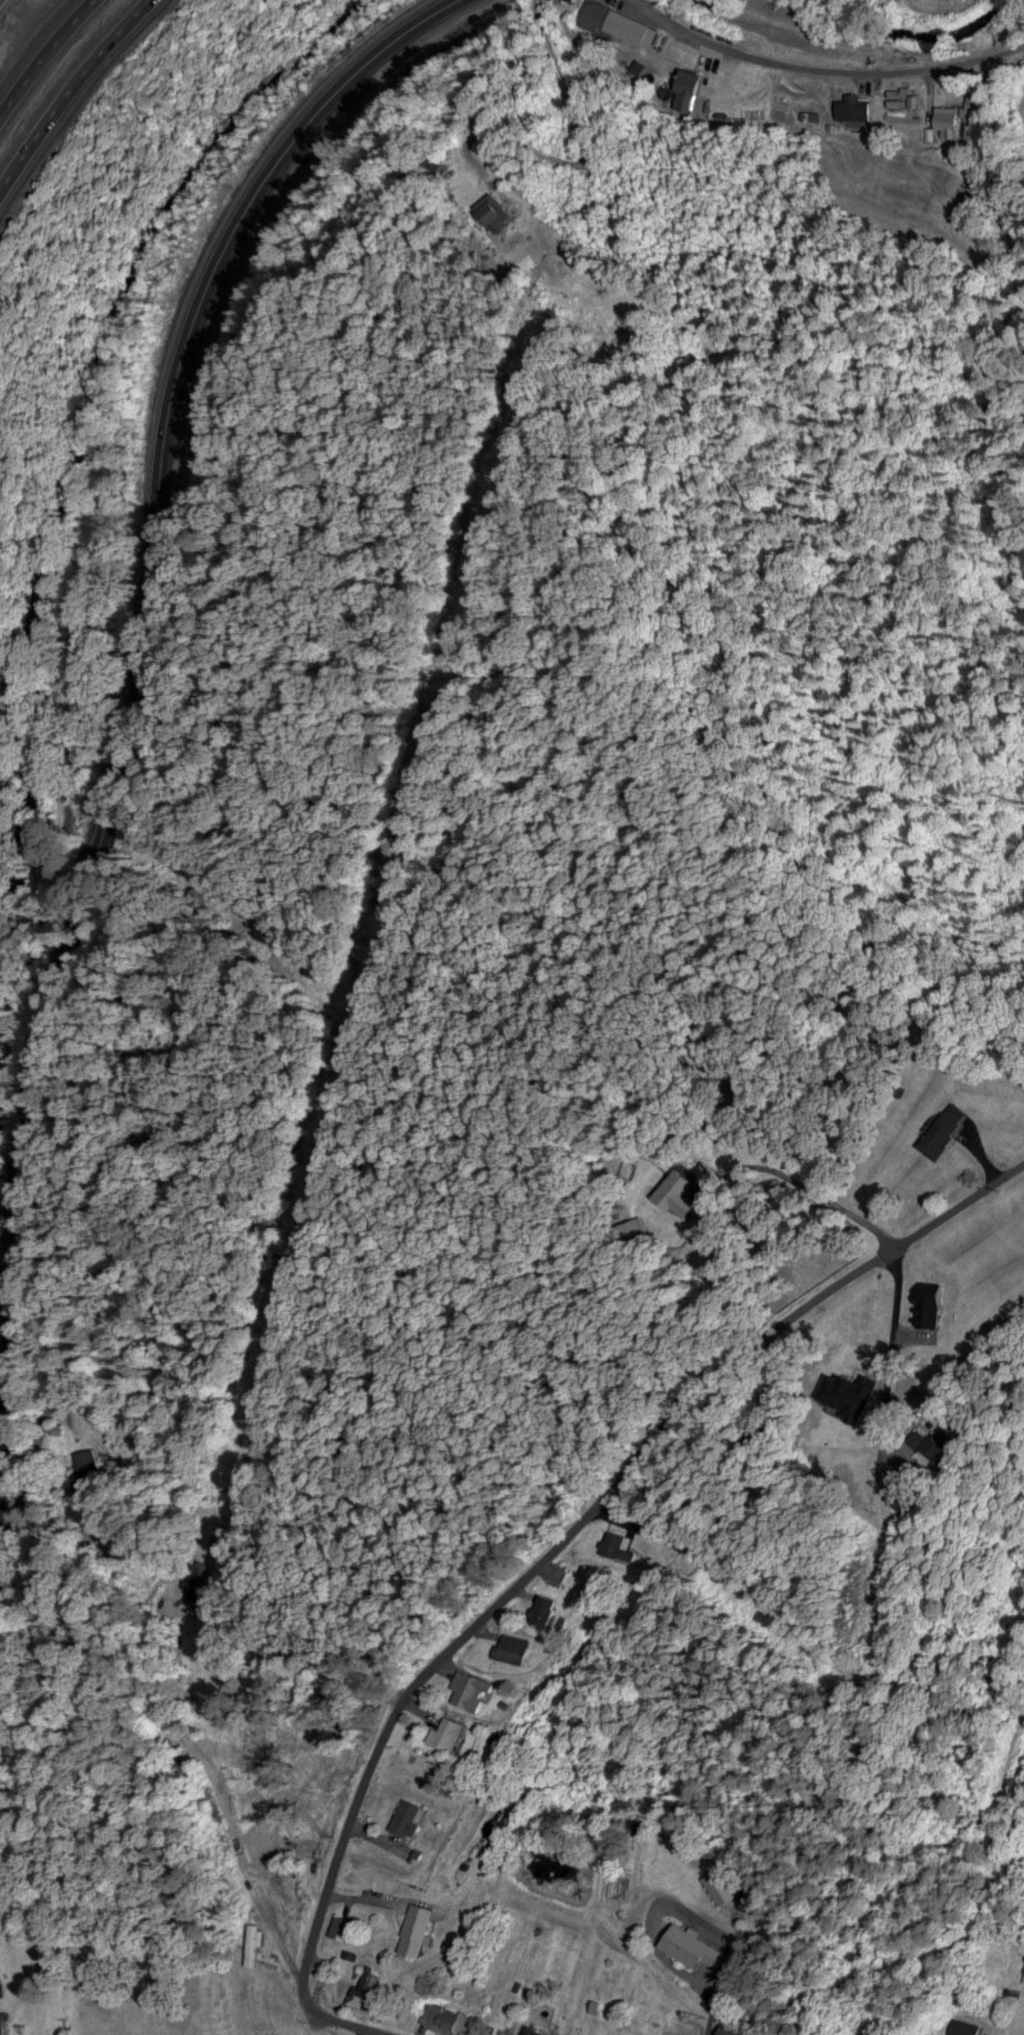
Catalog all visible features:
building: (613, 19)
road: (40, 50)
road: (817, 64)
building: (692, 90)
road: (66, 91)
building: (855, 107)
road: (590, 155)
road: (134, 673)
building: (947, 1128)
building: (679, 1191)
road: (821, 1285)
building: (948, 1439)
road: (39, 1445)
building: (89, 1467)
building: (910, 1496)
building: (619, 1543)
building: (547, 1608)
road: (459, 1643)
building: (514, 1646)
building: (474, 1688)
building: (451, 1731)
building: (413, 1816)
road: (246, 1871)
building: (724, 1883)
building: (344, 1926)
building: (420, 1927)
building: (255, 1941)
building: (689, 1942)
road: (730, 1979)
building: (369, 1988)
building: (442, 2018)
road: (357, 2026)
building: (966, 2027)
building: (740, 2030)
building: (539, 2034)

